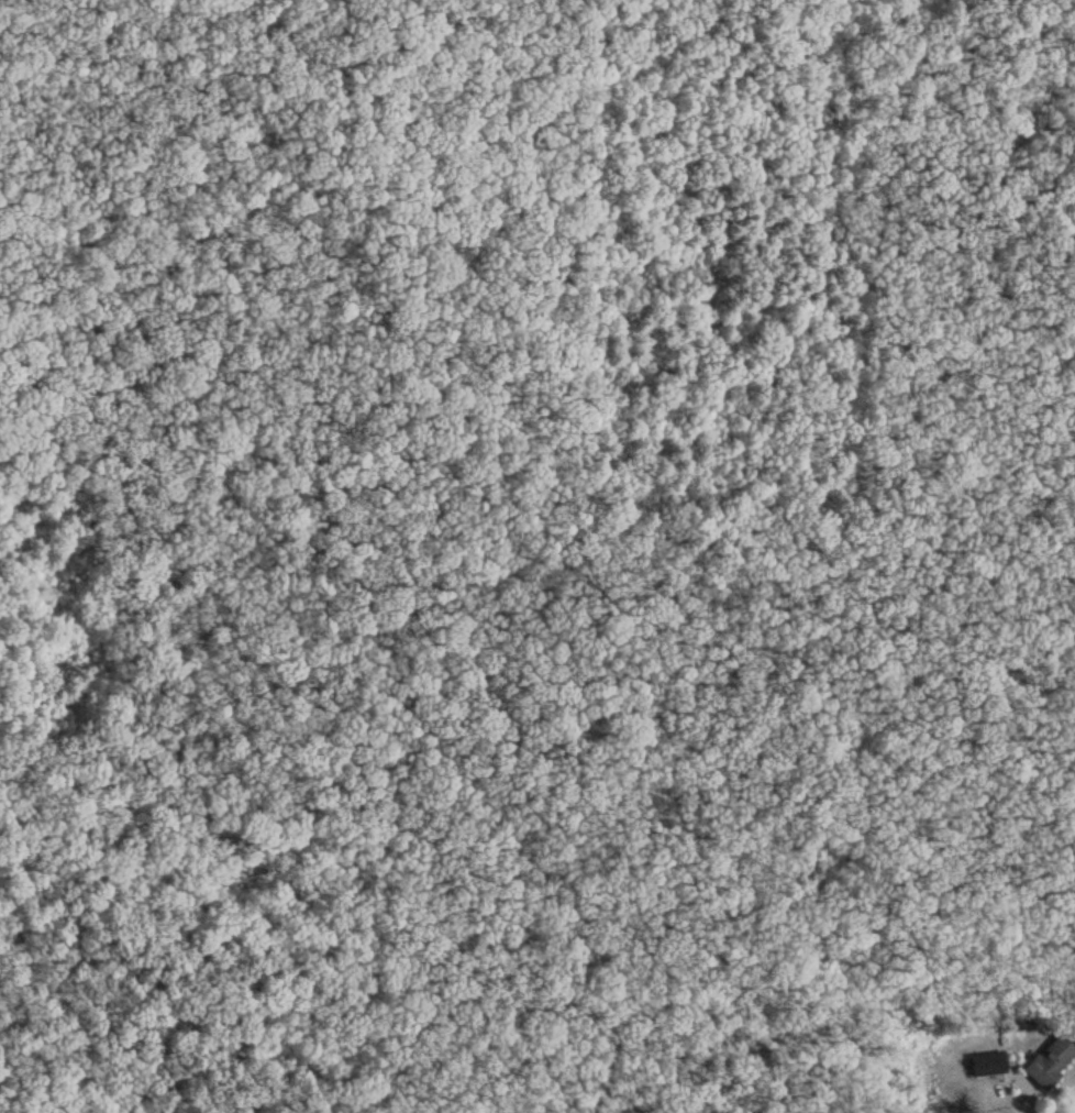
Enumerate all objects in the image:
building: (1049, 1061)
building: (987, 1064)
road: (1013, 1104)
road: (1063, 1109)

